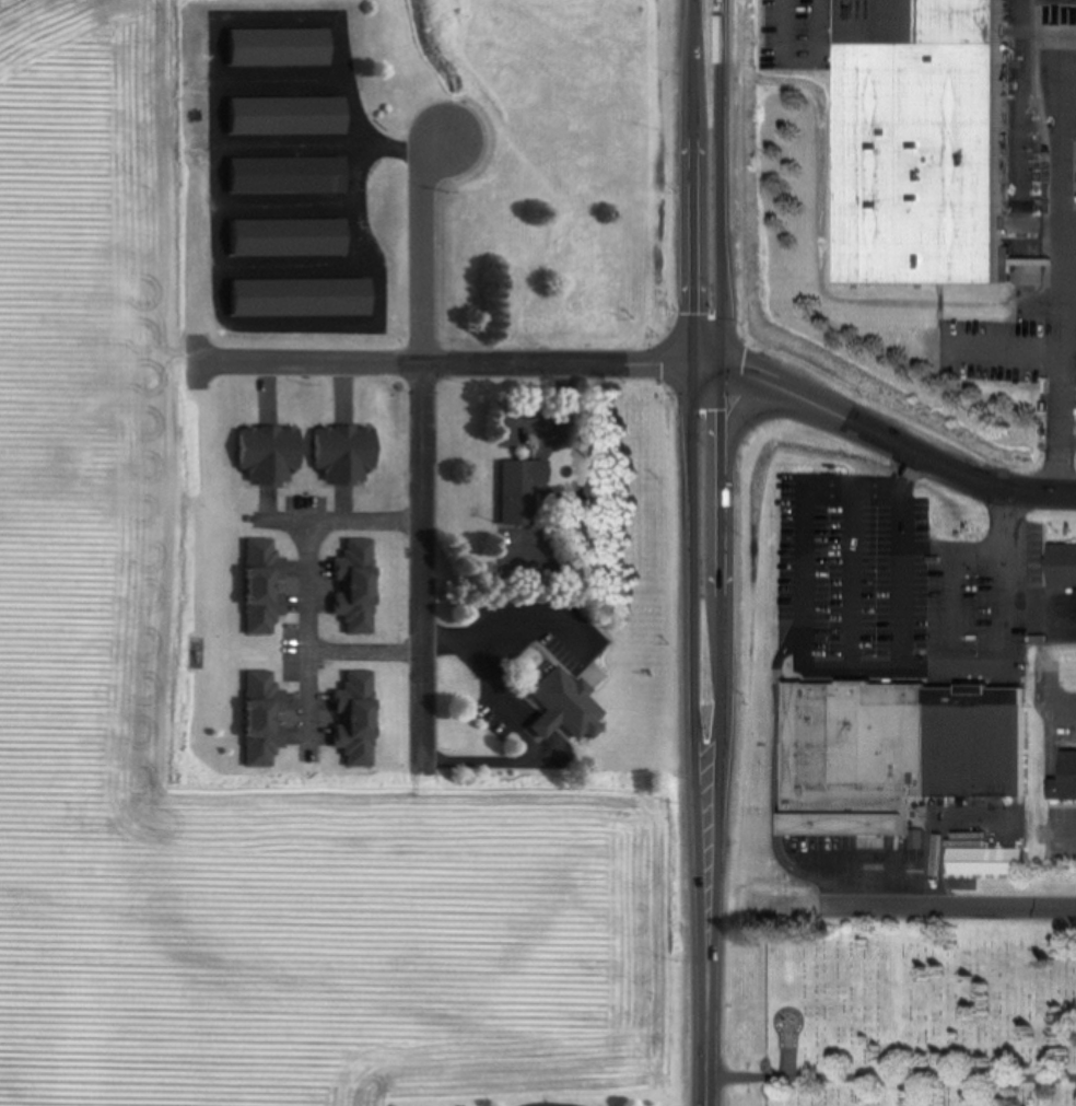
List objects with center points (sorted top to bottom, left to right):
road: (777, 10)
building: (280, 47)
building: (286, 116)
building: (917, 140)
building: (289, 176)
road: (693, 182)
road: (721, 182)
building: (289, 237)
building: (572, 245)
road: (1062, 275)
building: (302, 298)
road: (1007, 352)
road: (196, 362)
road: (444, 364)
traffic signals: (693, 364)
road: (707, 364)
traffic signals: (722, 364)
road: (768, 383)
road: (749, 411)
road: (845, 420)
road: (423, 451)
building: (271, 455)
building: (349, 456)
road: (933, 462)
road: (1033, 491)
building: (515, 492)
road: (905, 554)
road: (853, 556)
building: (1060, 567)
road: (805, 583)
road: (1006, 585)
road: (306, 586)
building: (264, 587)
building: (360, 587)
crop: (92, 609)
road: (903, 618)
road: (956, 618)
road: (506, 619)
road: (693, 635)
road: (722, 635)
road: (904, 684)
building: (558, 706)
building: (264, 719)
building: (359, 720)
building: (978, 746)
building: (857, 761)
building: (1064, 778)
building: (983, 861)
road: (948, 907)
road: (705, 1004)
park: (923, 1008)
road: (891, 1076)

